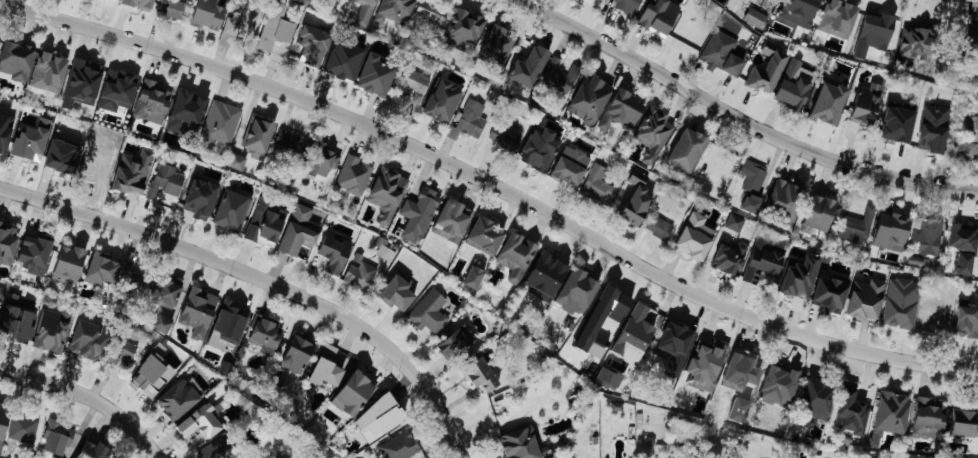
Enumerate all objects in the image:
building: (137, 3)
building: (399, 4)
building: (624, 6)
building: (172, 8)
building: (364, 12)
building: (799, 12)
building: (428, 14)
building: (653, 14)
building: (207, 15)
building: (843, 16)
building: (753, 17)
building: (244, 21)
building: (275, 27)
building: (878, 28)
building: (461, 30)
building: (972, 34)
building: (685, 36)
building: (915, 42)
building: (308, 44)
building: (496, 44)
building: (720, 54)
building: (344, 58)
building: (14, 59)
building: (522, 59)
building: (48, 66)
building: (558, 75)
building: (374, 76)
building: (83, 78)
building: (752, 78)
building: (118, 80)
building: (410, 82)
building: (788, 93)
building: (587, 94)
building: (441, 101)
building: (821, 101)
building: (151, 102)
building: (187, 104)
building: (617, 107)
building: (863, 108)
building: (469, 119)
road: (740, 121)
building: (973, 123)
building: (217, 124)
building: (891, 127)
building: (254, 131)
building: (652, 134)
building: (928, 137)
building: (27, 141)
building: (507, 142)
building: (0, 143)
building: (287, 144)
building: (684, 145)
building: (535, 148)
building: (961, 150)
building: (61, 159)
building: (717, 160)
building: (236, 161)
building: (319, 162)
building: (90, 166)
building: (569, 168)
building: (128, 175)
building: (352, 176)
building: (751, 176)
building: (167, 181)
road: (492, 182)
building: (595, 185)
building: (382, 188)
building: (198, 198)
building: (780, 198)
building: (750, 203)
building: (820, 203)
building: (627, 204)
building: (230, 211)
building: (416, 214)
building: (734, 222)
building: (889, 224)
building: (657, 227)
building: (447, 228)
building: (847, 229)
building: (258, 230)
building: (296, 232)
building: (483, 236)
building: (925, 236)
building: (693, 237)
building: (5, 239)
building: (961, 248)
building: (28, 249)
building: (333, 251)
building: (386, 253)
building: (515, 256)
building: (727, 258)
building: (67, 263)
building: (760, 264)
building: (100, 269)
building: (548, 273)
building: (358, 276)
building: (473, 277)
building: (133, 278)
road: (262, 279)
building: (791, 279)
building: (393, 291)
building: (576, 292)
building: (165, 293)
building: (828, 293)
building: (0, 296)
building: (611, 301)
building: (198, 303)
building: (897, 306)
building: (859, 308)
building: (566, 314)
building: (932, 314)
building: (424, 319)
building: (639, 323)
building: (161, 324)
building: (15, 325)
building: (227, 328)
building: (965, 330)
building: (264, 333)
building: (49, 335)
building: (673, 335)
building: (86, 340)
building: (452, 347)
building: (125, 352)
building: (296, 352)
building: (705, 358)
building: (675, 362)
building: (737, 366)
building: (331, 367)
building: (146, 374)
building: (479, 376)
building: (607, 378)
building: (771, 384)
building: (353, 389)
road: (89, 397)
building: (815, 398)
building: (177, 399)
building: (889, 404)
building: (616, 406)
building: (498, 407)
building: (376, 413)
building: (849, 413)
building: (1, 417)
building: (922, 417)
building: (202, 422)
building: (963, 424)
building: (23, 430)
building: (56, 439)
building: (516, 444)
building: (397, 446)
building: (217, 449)
building: (90, 450)
building: (661, 456)
building: (53, 457)

